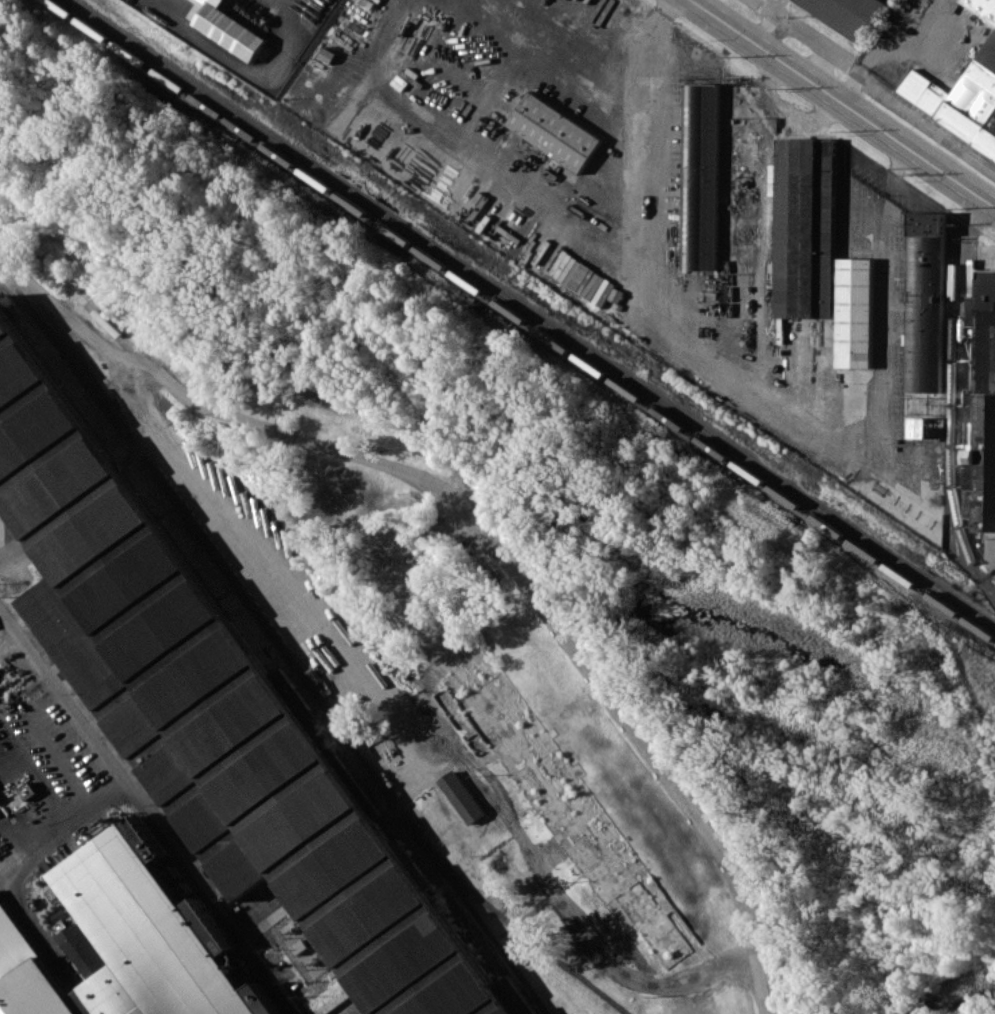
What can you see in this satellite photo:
road: (663, 5)
building: (982, 7)
building: (847, 14)
building: (230, 29)
road: (251, 72)
road: (867, 75)
building: (960, 98)
road: (842, 103)
road: (777, 116)
road: (472, 117)
building: (555, 131)
road: (892, 170)
building: (701, 176)
building: (746, 191)
building: (805, 227)
road: (962, 252)
building: (925, 302)
building: (970, 311)
building: (855, 312)
railway: (530, 313)
railway: (34, 315)
railway: (522, 319)
road: (736, 375)
building: (981, 415)
building: (923, 427)
road: (487, 531)
railway: (272, 636)
railway: (249, 670)
building: (213, 709)
railway: (215, 717)
railway: (201, 737)
road: (60, 760)
road: (40, 780)
building: (27, 790)
building: (462, 796)
road: (146, 813)
road: (25, 848)
railway: (514, 925)
building: (128, 938)
building: (332, 997)

